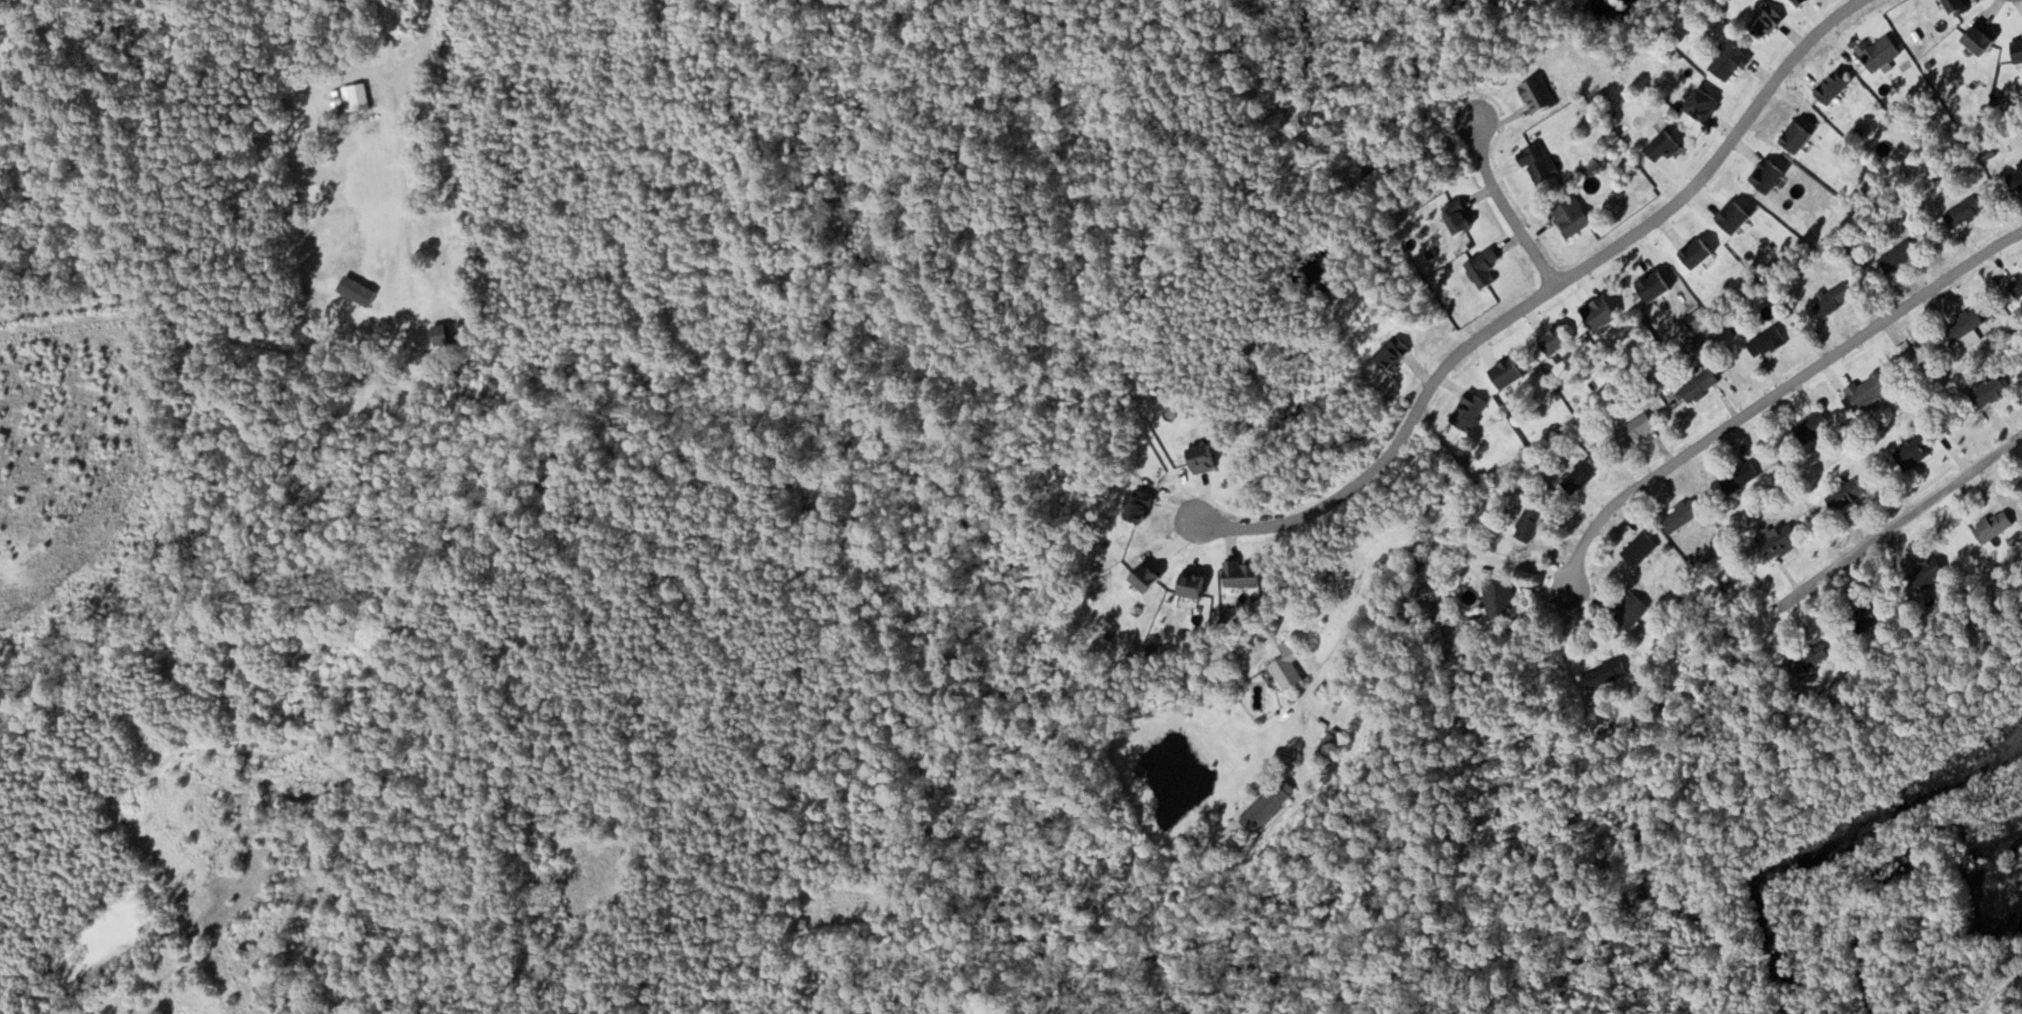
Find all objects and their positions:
building: (1958, 7)
building: (1768, 20)
building: (1981, 40)
building: (2018, 50)
building: (1881, 51)
building: (1730, 60)
building: (1833, 86)
building: (1539, 92)
building: (1703, 102)
building: (1798, 135)
building: (1664, 145)
building: (1539, 161)
road: (403, 166)
building: (1769, 174)
building: (2016, 179)
road: (1502, 209)
building: (1965, 211)
building: (1735, 214)
building: (1572, 215)
building: (1698, 251)
building: (1899, 255)
building: (1484, 265)
building: (1655, 283)
building: (2018, 287)
road: (1541, 297)
building: (1834, 298)
building: (1964, 323)
building: (441, 333)
building: (1767, 341)
building: (1906, 351)
building: (1394, 352)
building: (1508, 371)
building: (1700, 386)
building: (1869, 389)
building: (1991, 390)
road: (1775, 392)
building: (1470, 410)
building: (1813, 426)
building: (1636, 429)
building: (1915, 450)
building: (1203, 457)
building: (1581, 475)
building: (1740, 477)
building: (1847, 494)
building: (1683, 514)
road: (1899, 521)
building: (1994, 526)
building: (1783, 541)
building: (1641, 548)
road: (1379, 568)
building: (1243, 572)
building: (1928, 572)
building: (1147, 576)
building: (1194, 582)
building: (1501, 598)
building: (1631, 609)
building: (1871, 616)
building: (1809, 656)
building: (1288, 664)
building: (1606, 672)
building: (1639, 718)
building: (1330, 743)
road: (479, 860)

